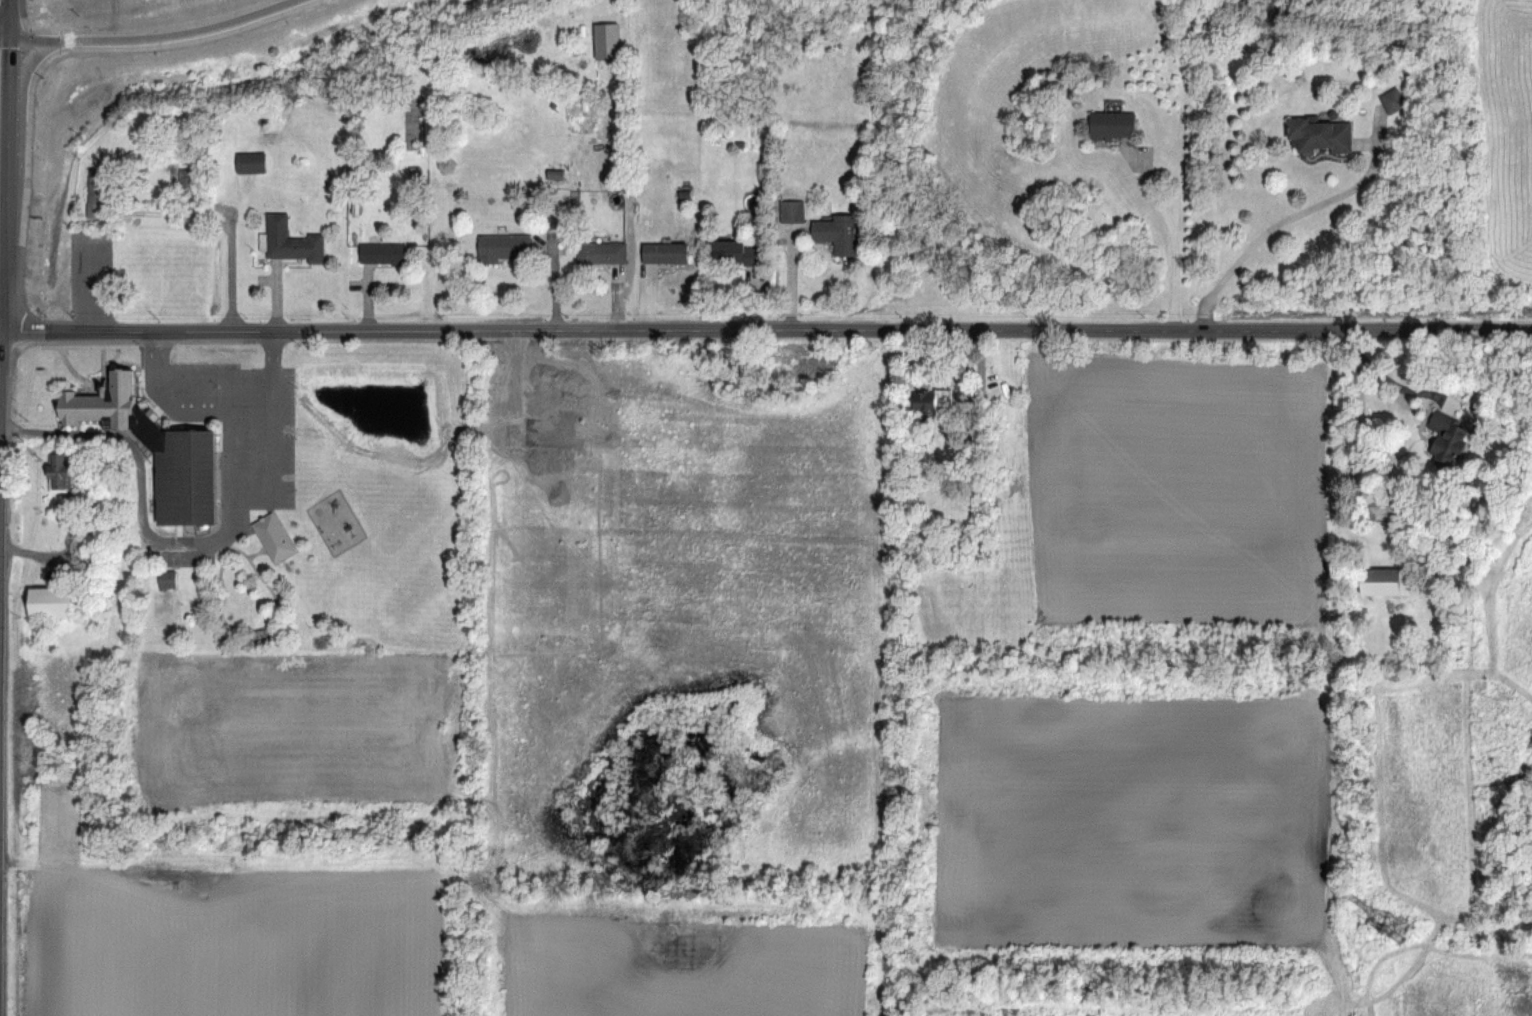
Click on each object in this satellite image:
traffic signals: (2, 38)
road: (30, 38)
road: (130, 38)
building: (606, 39)
road: (1, 58)
building: (1392, 99)
building: (1111, 123)
building: (1318, 134)
road: (0, 155)
building: (250, 161)
building: (97, 192)
road: (1175, 192)
building: (791, 210)
road: (1291, 216)
building: (836, 232)
building: (289, 240)
building: (503, 246)
building: (736, 249)
building: (601, 251)
building: (664, 251)
building: (382, 252)
road: (90, 282)
road: (766, 328)
road: (271, 347)
road: (155, 374)
road: (1391, 378)
road: (226, 386)
building: (929, 398)
road: (103, 436)
building: (1446, 438)
building: (156, 448)
road: (272, 452)
building: (59, 472)
building: (1384, 506)
road: (227, 520)
building: (272, 536)
building: (166, 578)
building: (1385, 580)
building: (53, 600)
road: (1337, 672)
power tower: (1393, 926)

